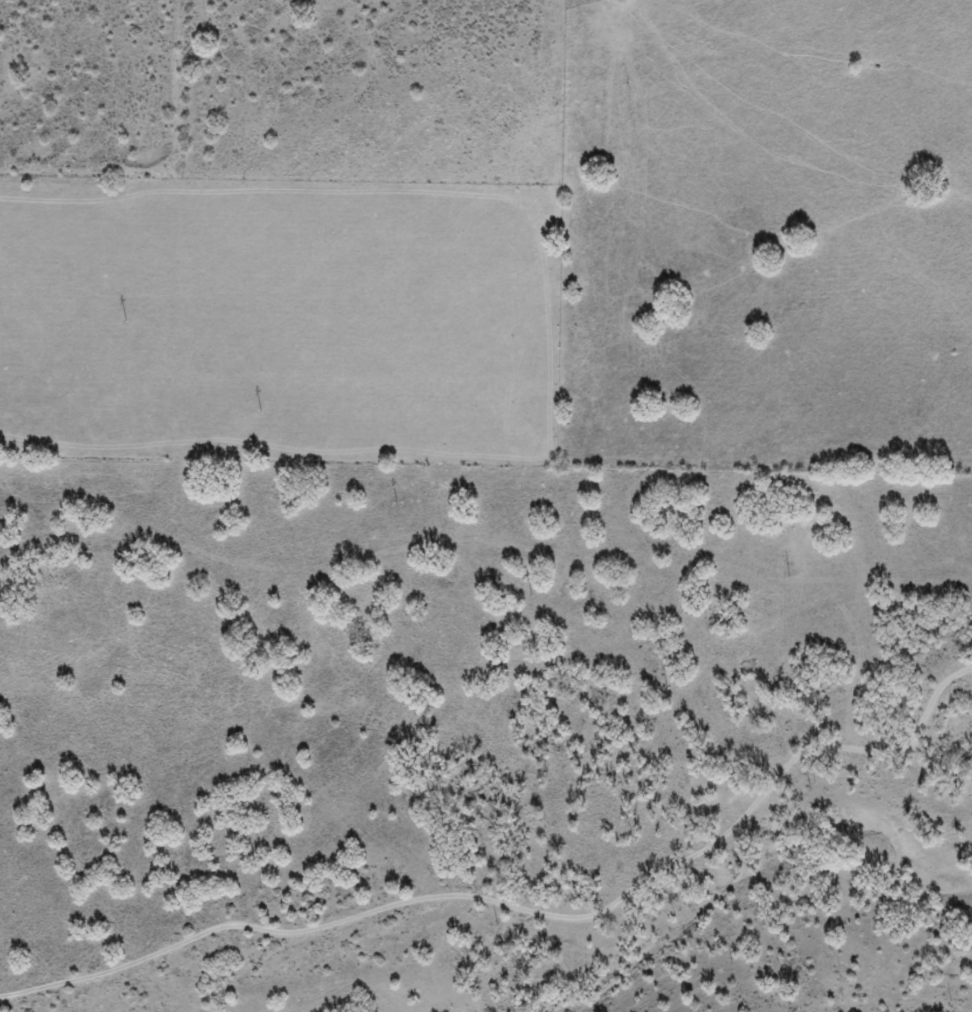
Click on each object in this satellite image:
power tower: (812, 787)

